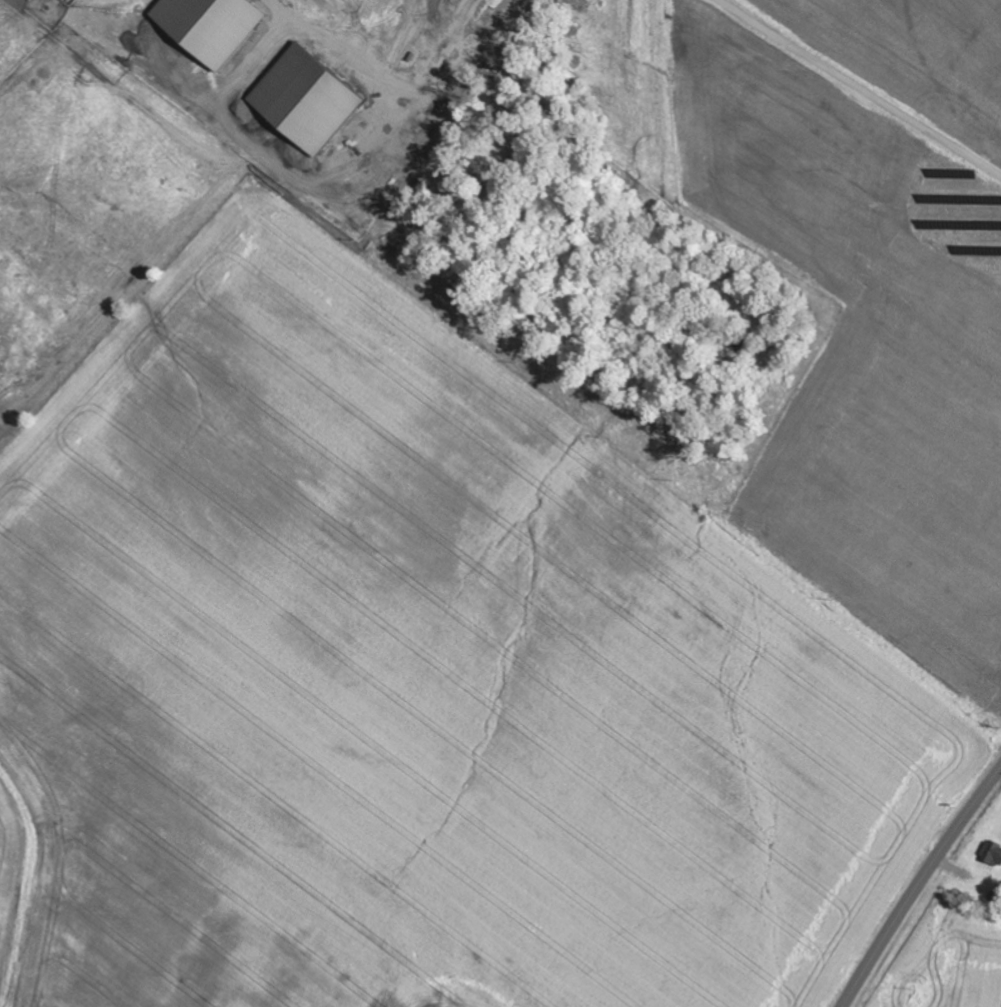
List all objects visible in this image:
building: (210, 27)
building: (306, 102)
building: (991, 854)
road: (918, 884)

